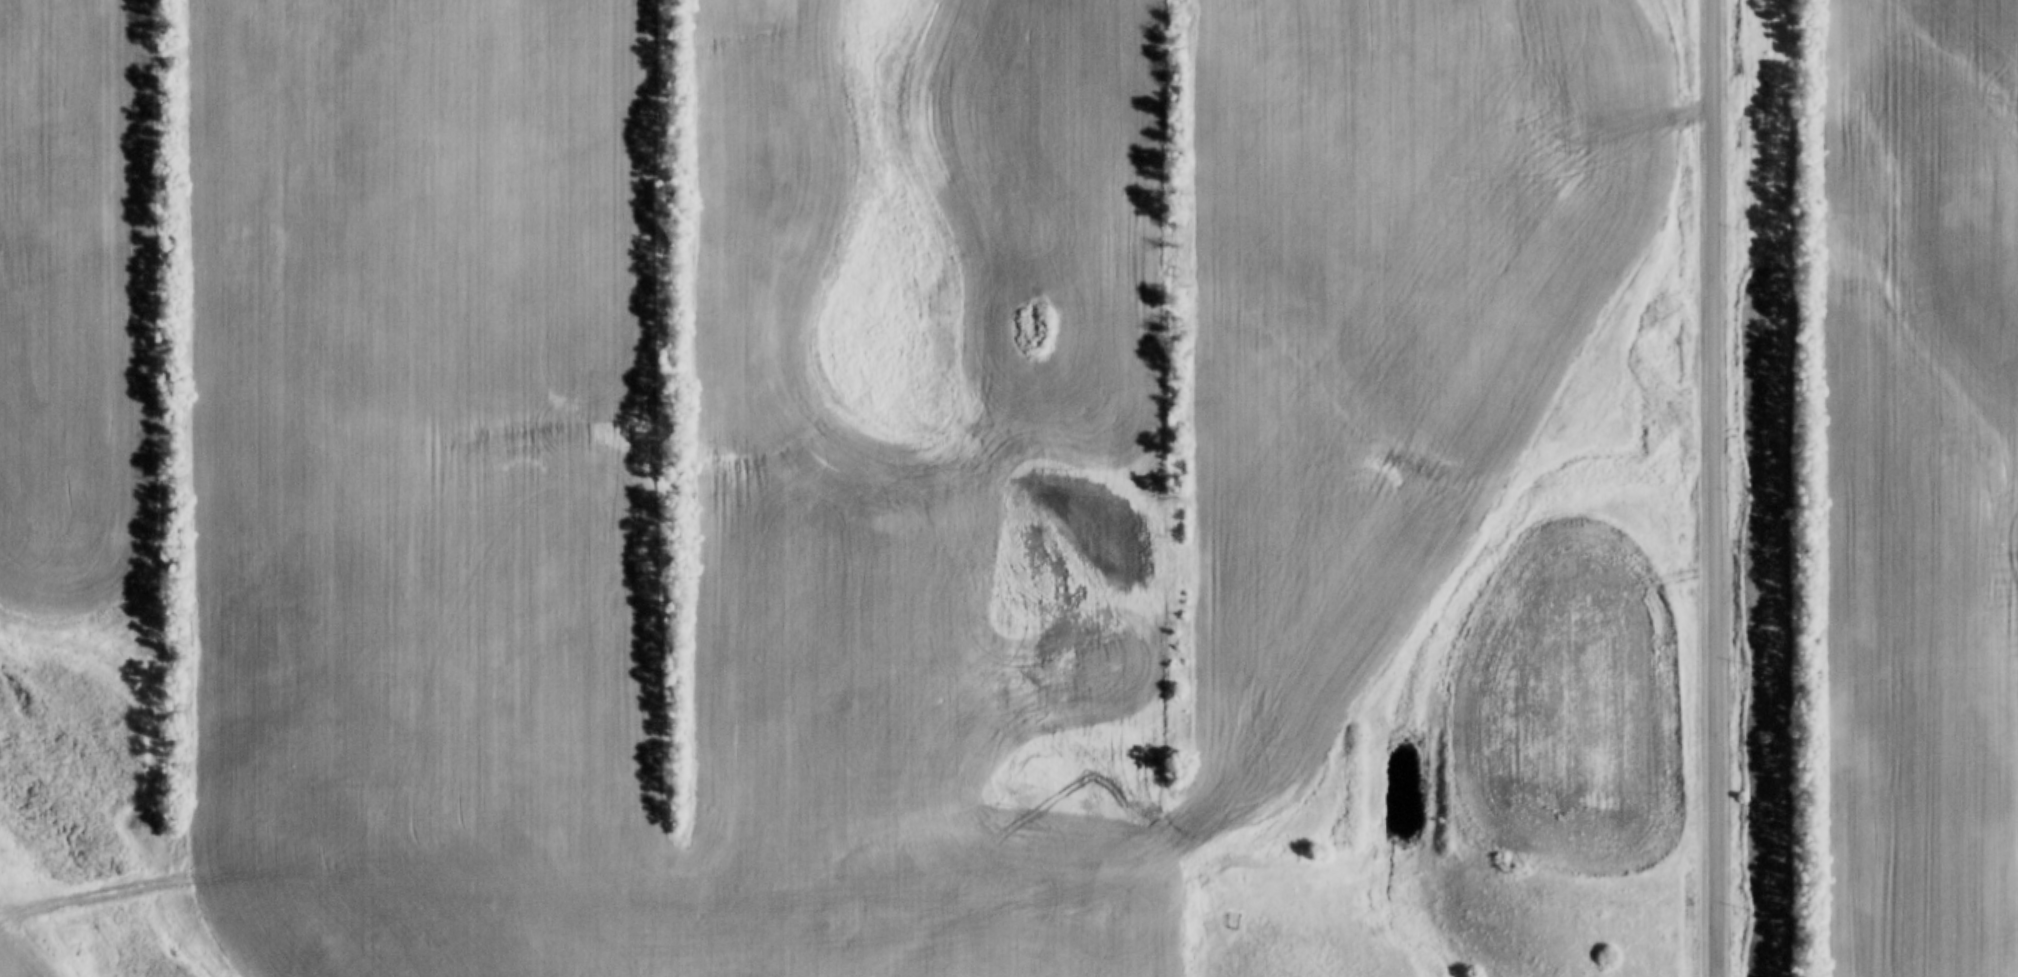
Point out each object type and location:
road: (1716, 488)

